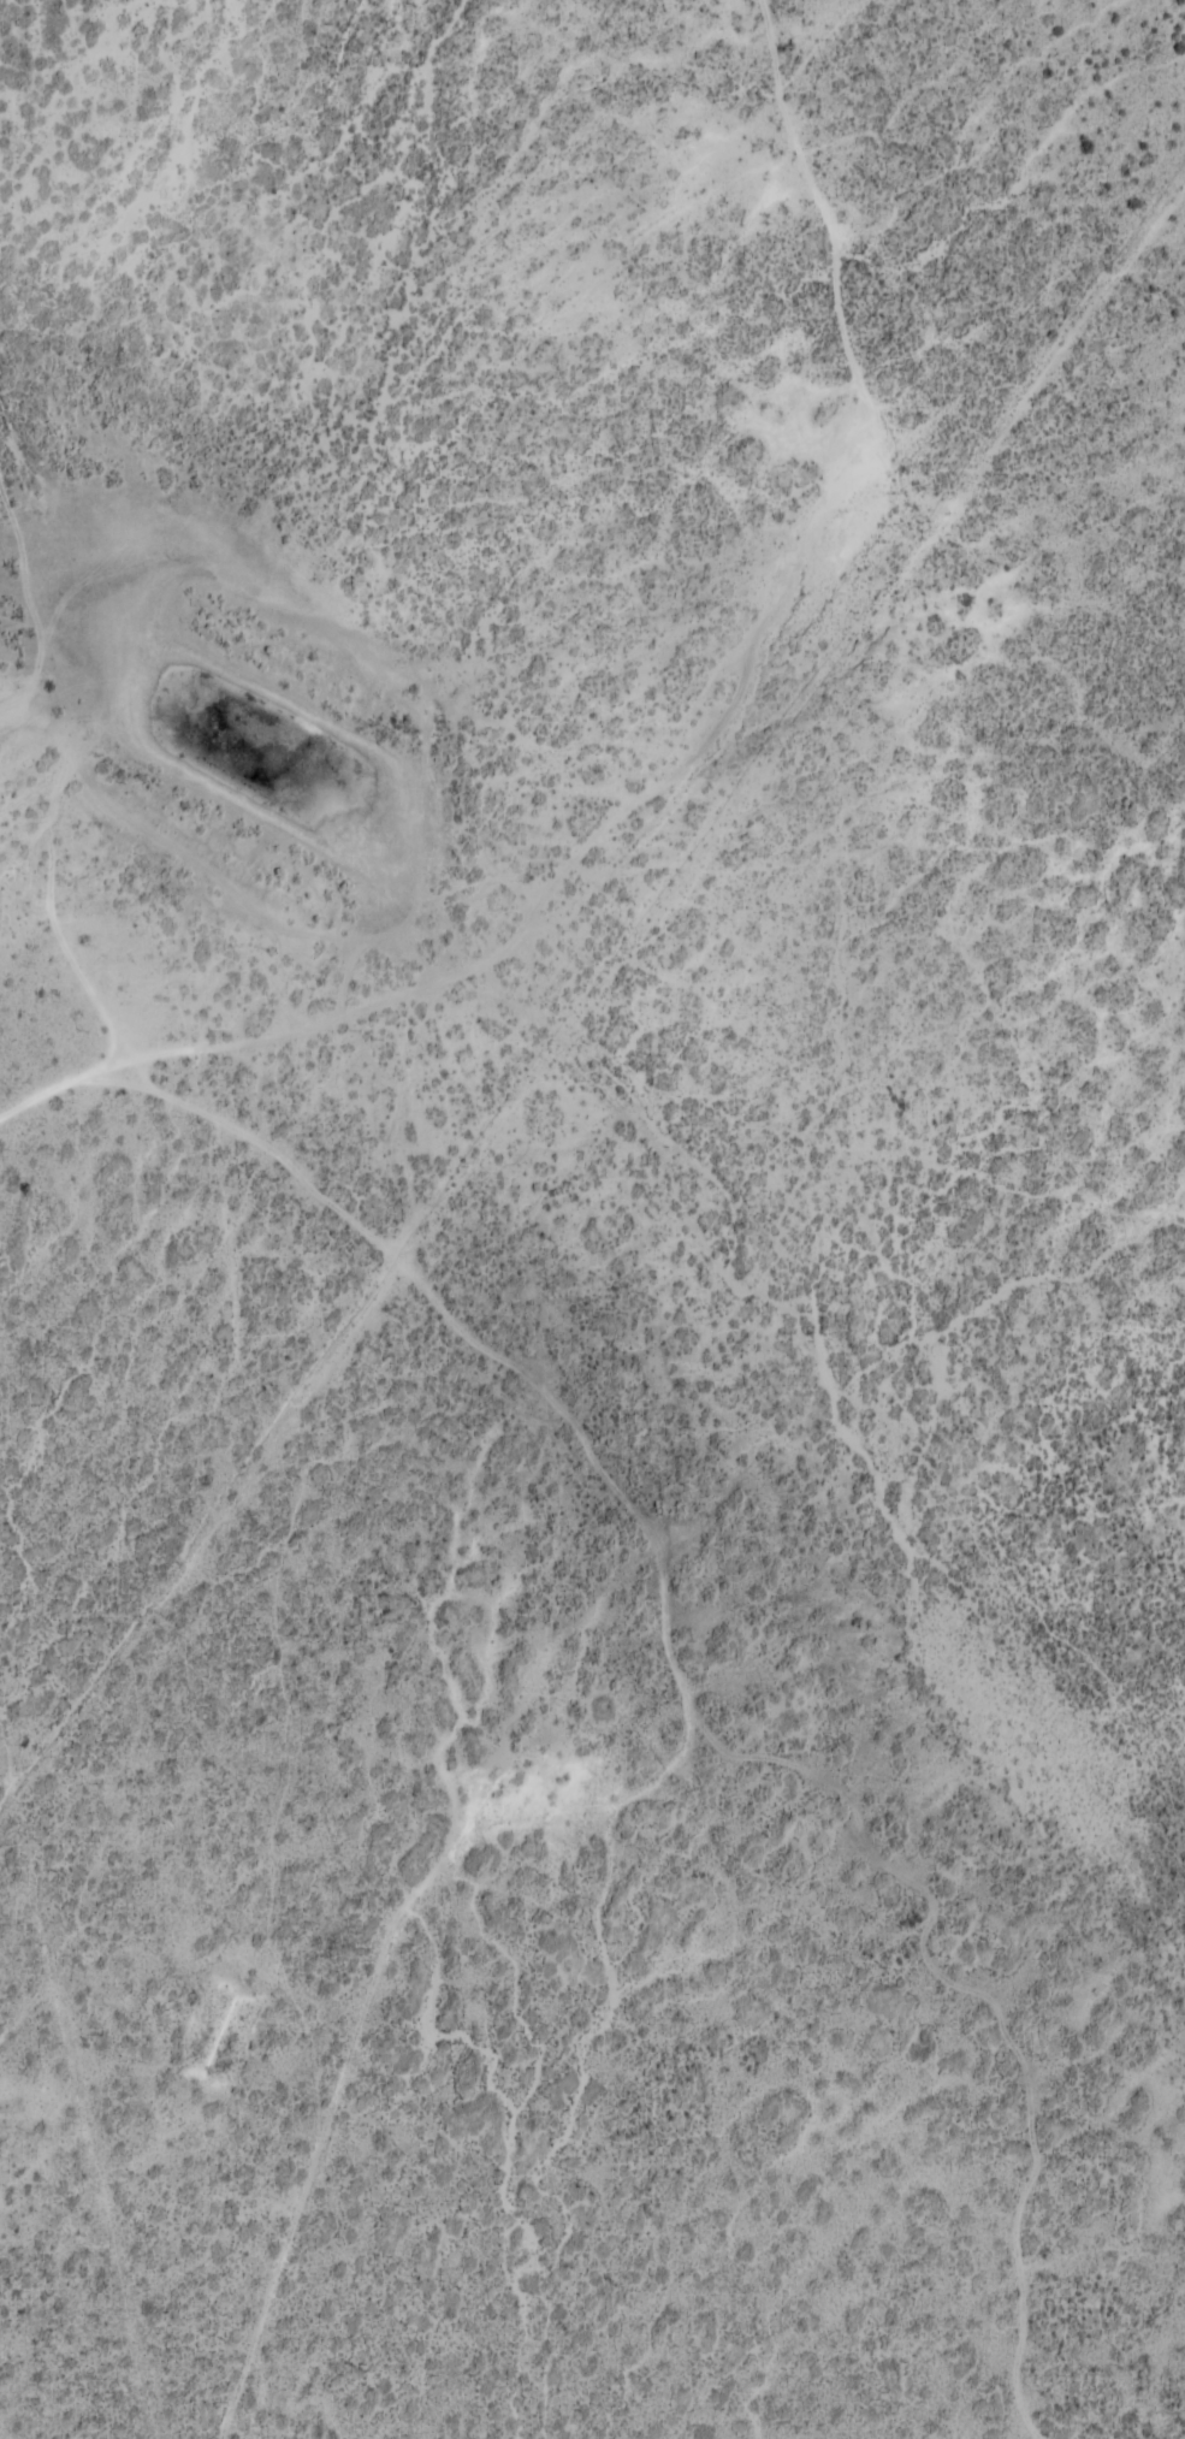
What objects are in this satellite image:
road: (716, 1665)

